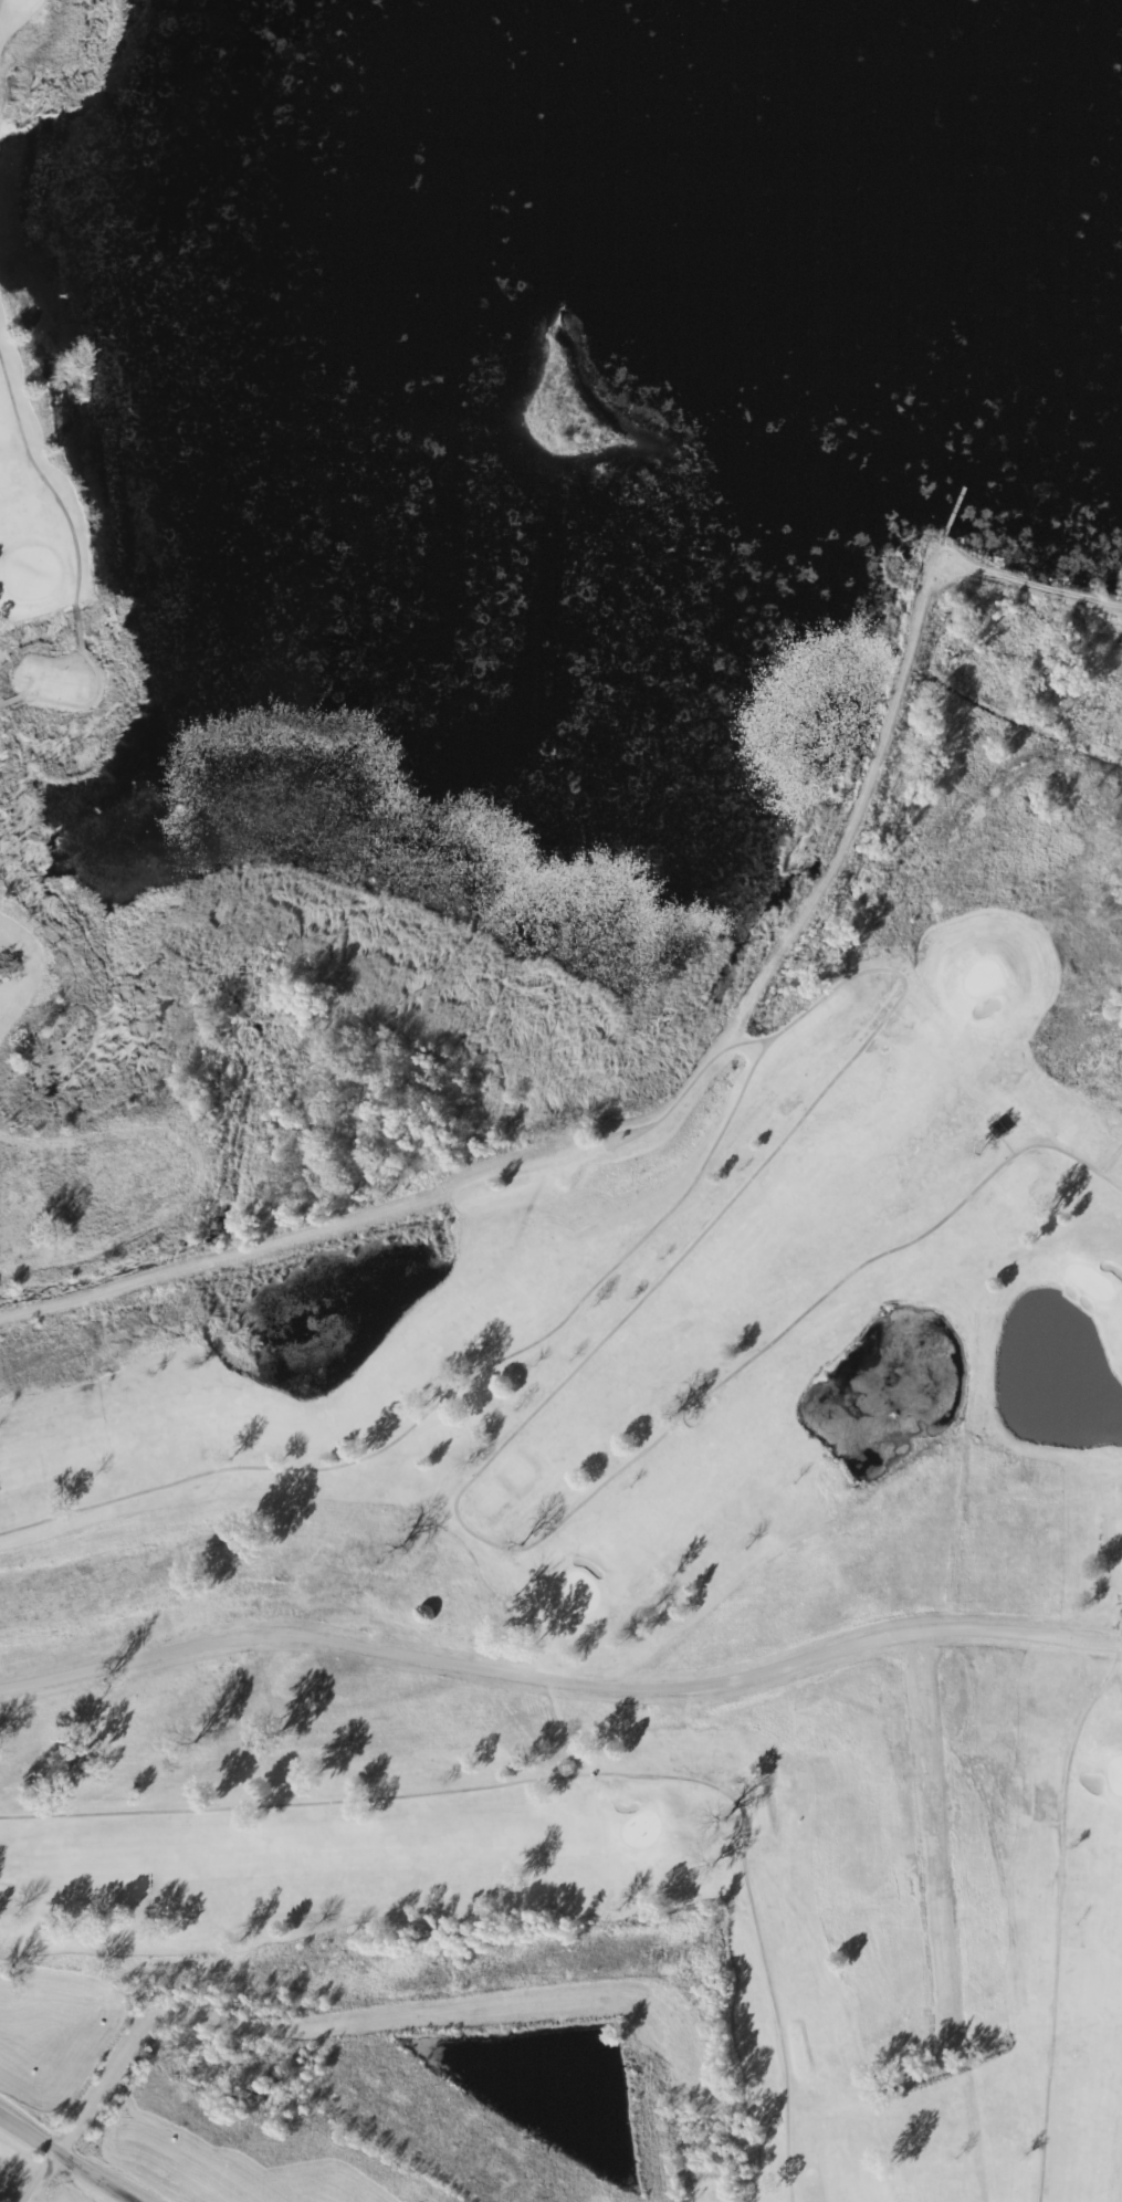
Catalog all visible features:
road: (1032, 586)
building: (996, 1130)
road: (910, 1633)
road: (352, 1636)
road: (903, 1849)
road: (77, 2103)
road: (70, 2156)

